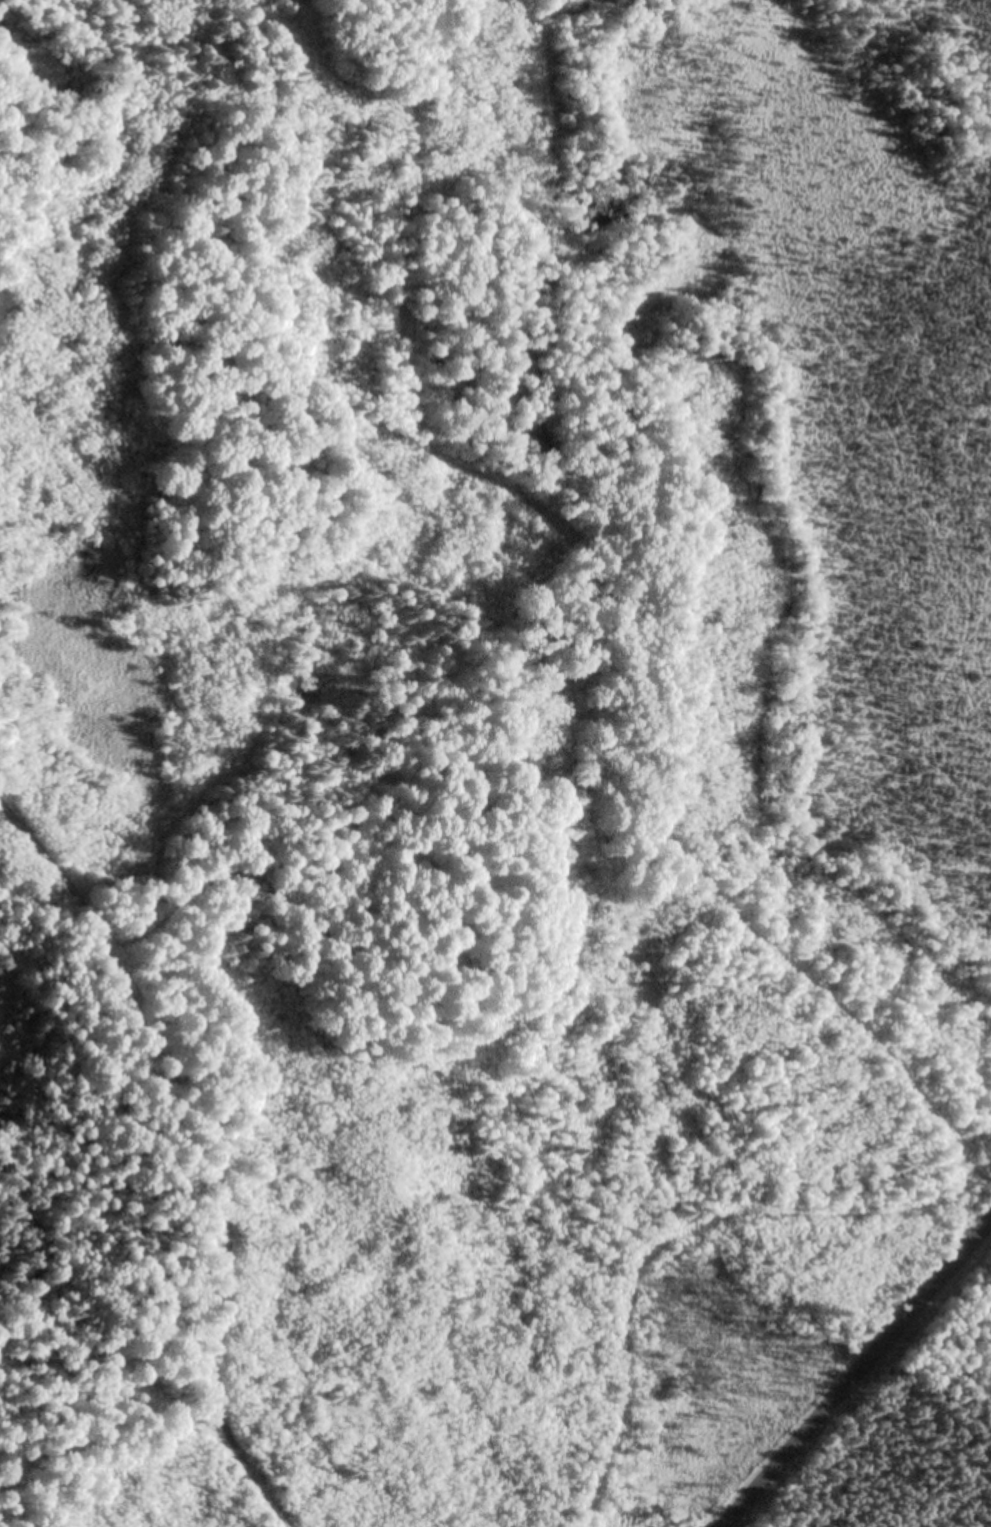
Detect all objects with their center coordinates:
road: (864, 1370)

